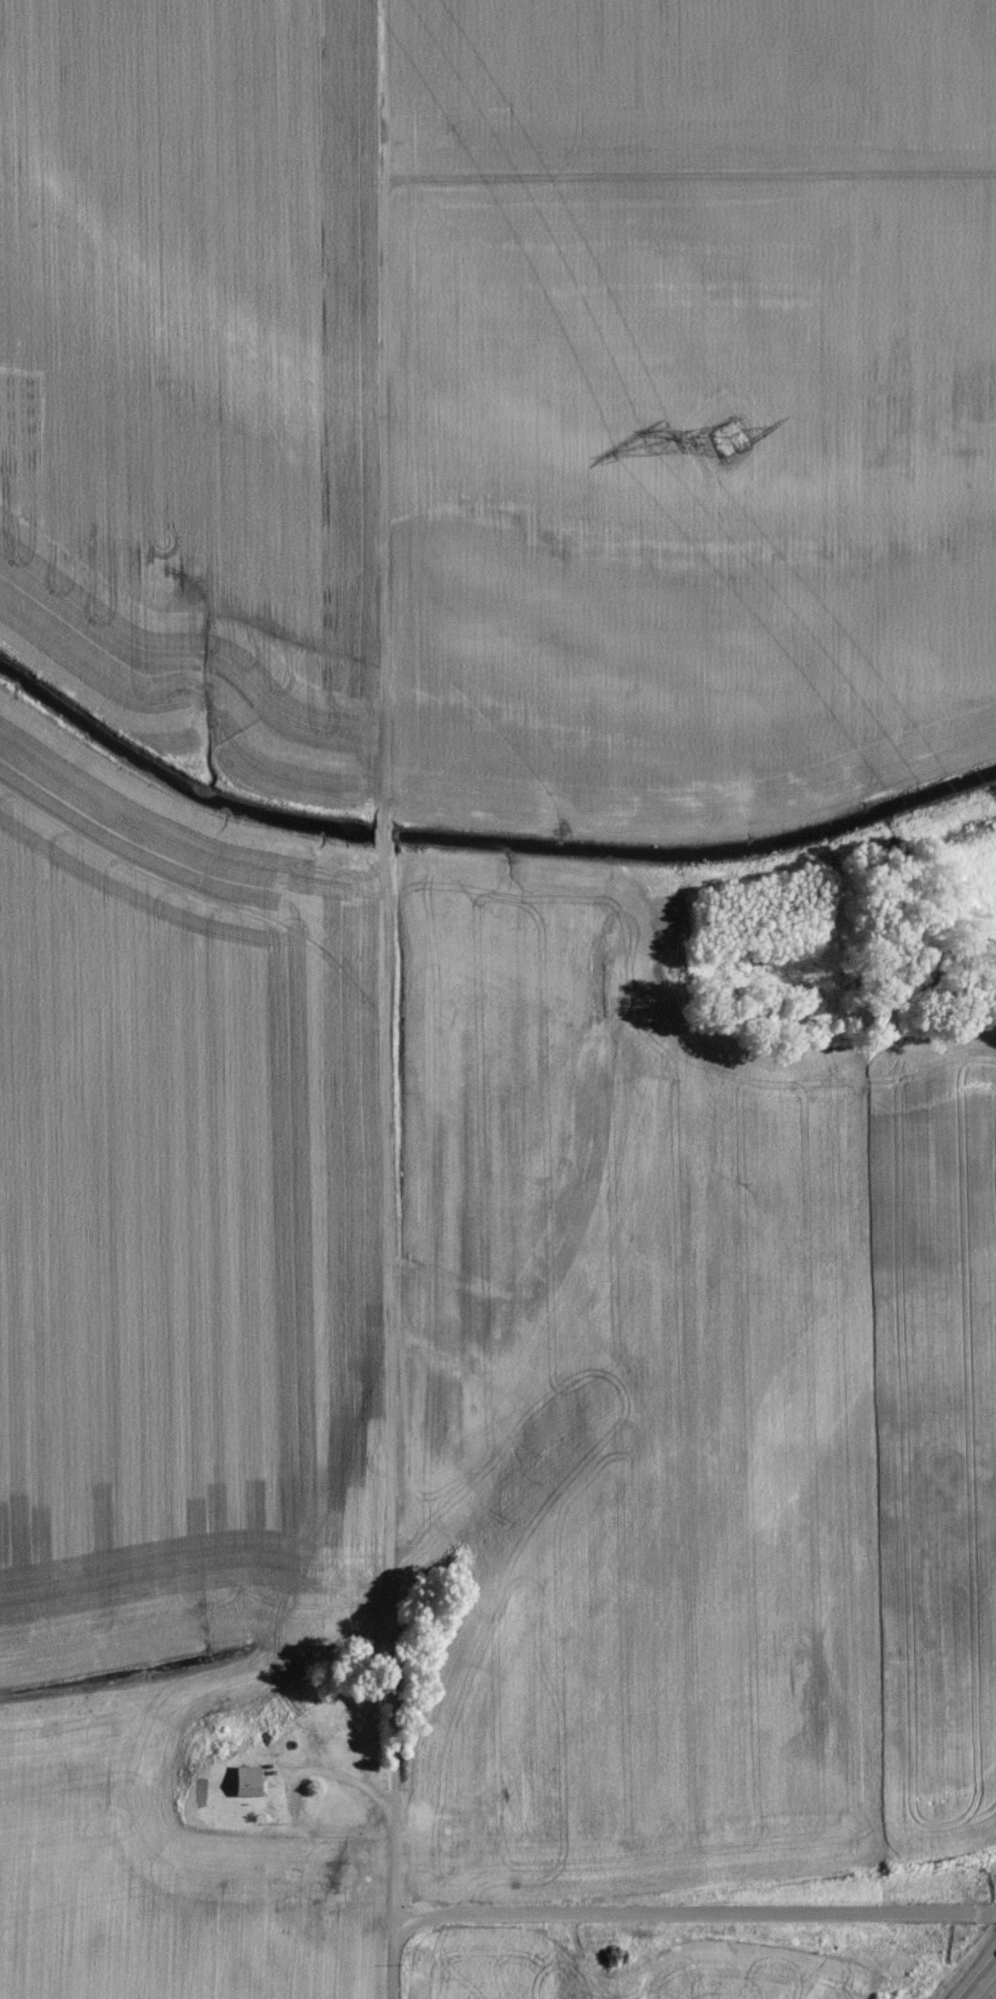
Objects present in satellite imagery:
road: (688, 177)
power tower: (736, 449)
road: (385, 901)
road: (338, 1781)
building: (248, 1786)
road: (392, 1900)
road: (677, 1917)
road: (979, 1918)
road: (984, 1984)

